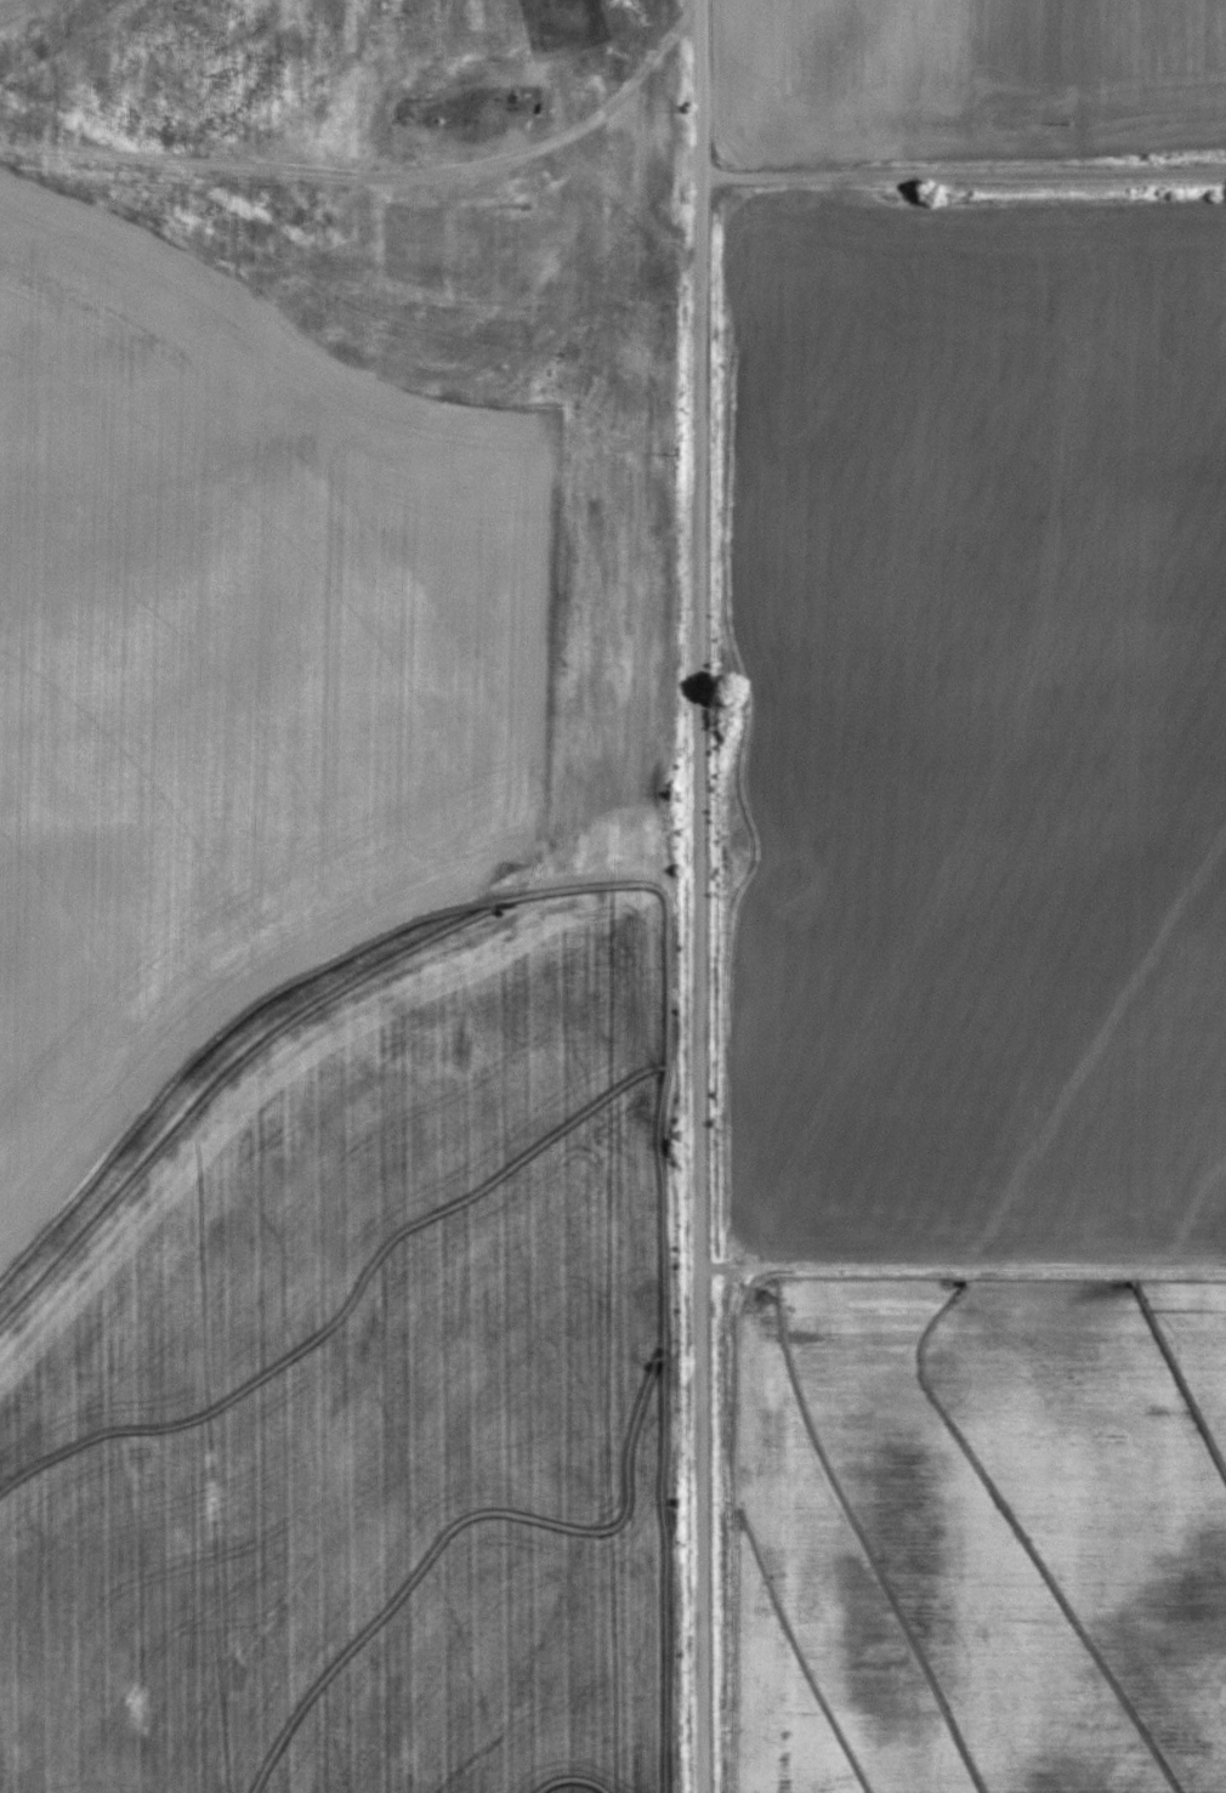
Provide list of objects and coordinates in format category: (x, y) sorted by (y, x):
road: (964, 172)
road: (699, 896)

